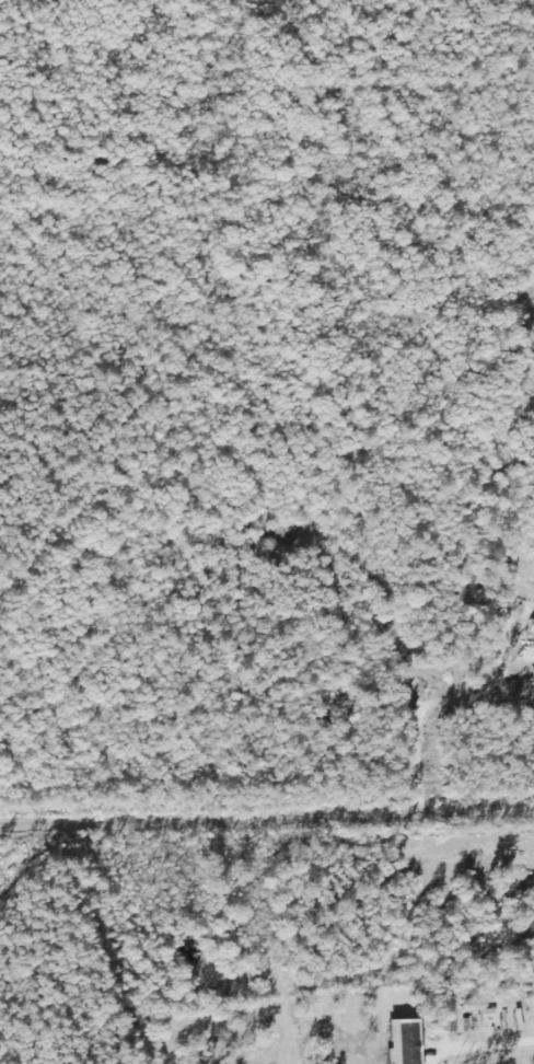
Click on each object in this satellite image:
building: (530, 625)
building: (533, 640)
road: (427, 706)
road: (266, 812)
building: (397, 1041)
road: (479, 1048)

